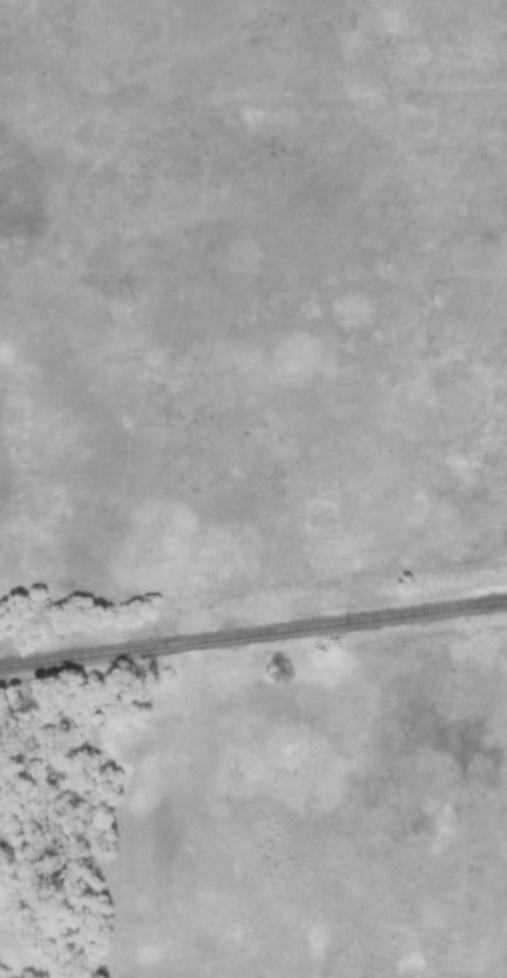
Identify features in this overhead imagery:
railway: (253, 629)

